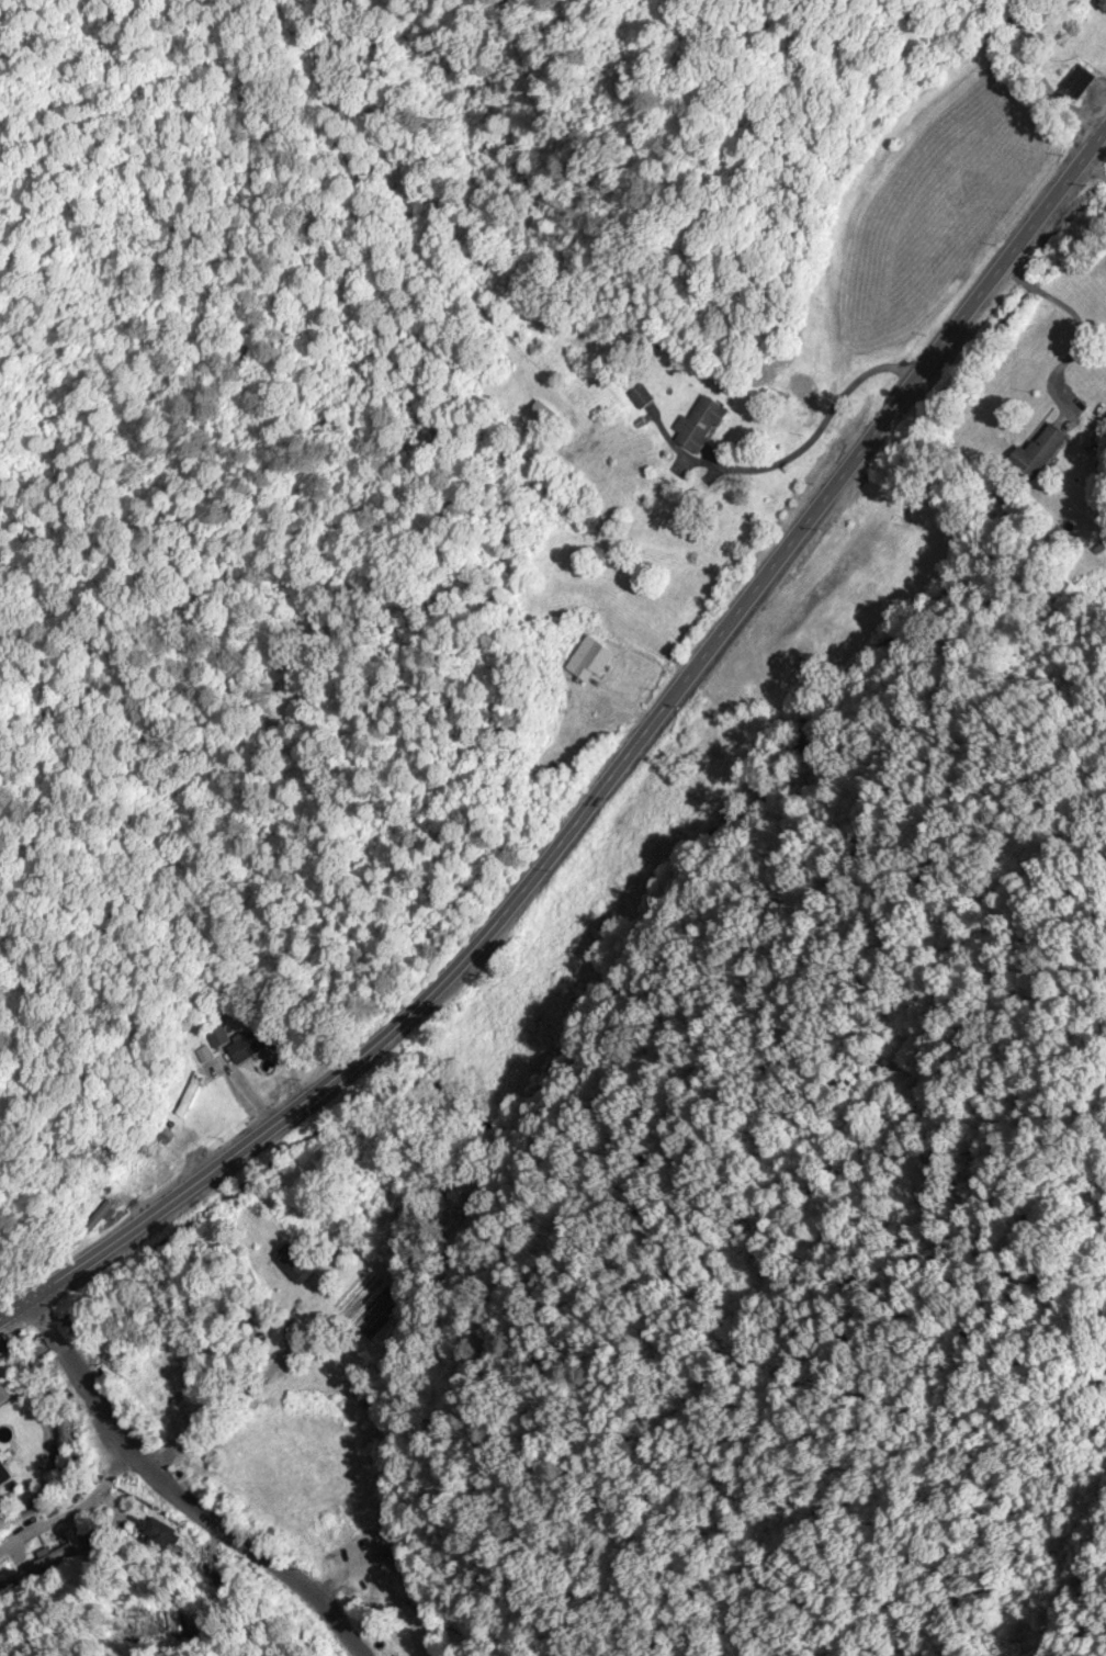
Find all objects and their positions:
building: (1102, 4)
road: (1041, 80)
building: (1079, 83)
building: (699, 426)
building: (1041, 451)
building: (590, 660)
road: (607, 785)
building: (252, 1050)
building: (292, 1270)
building: (5, 1384)
building: (3, 1476)
road: (179, 1499)
road: (75, 1508)
building: (99, 1539)
building: (49, 1559)
building: (9, 1587)

